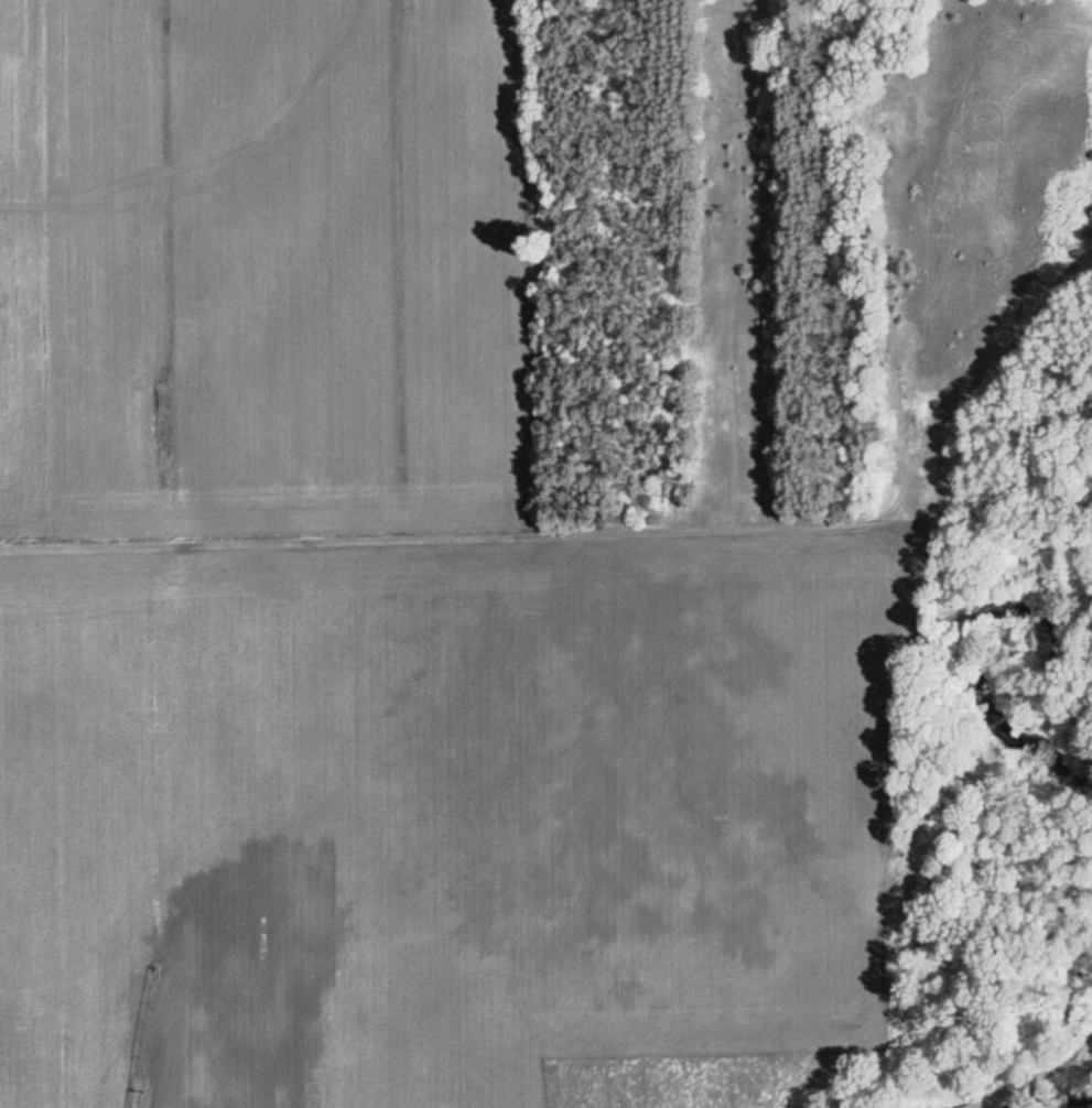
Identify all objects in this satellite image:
road: (752, 1035)
building: (965, 1106)

